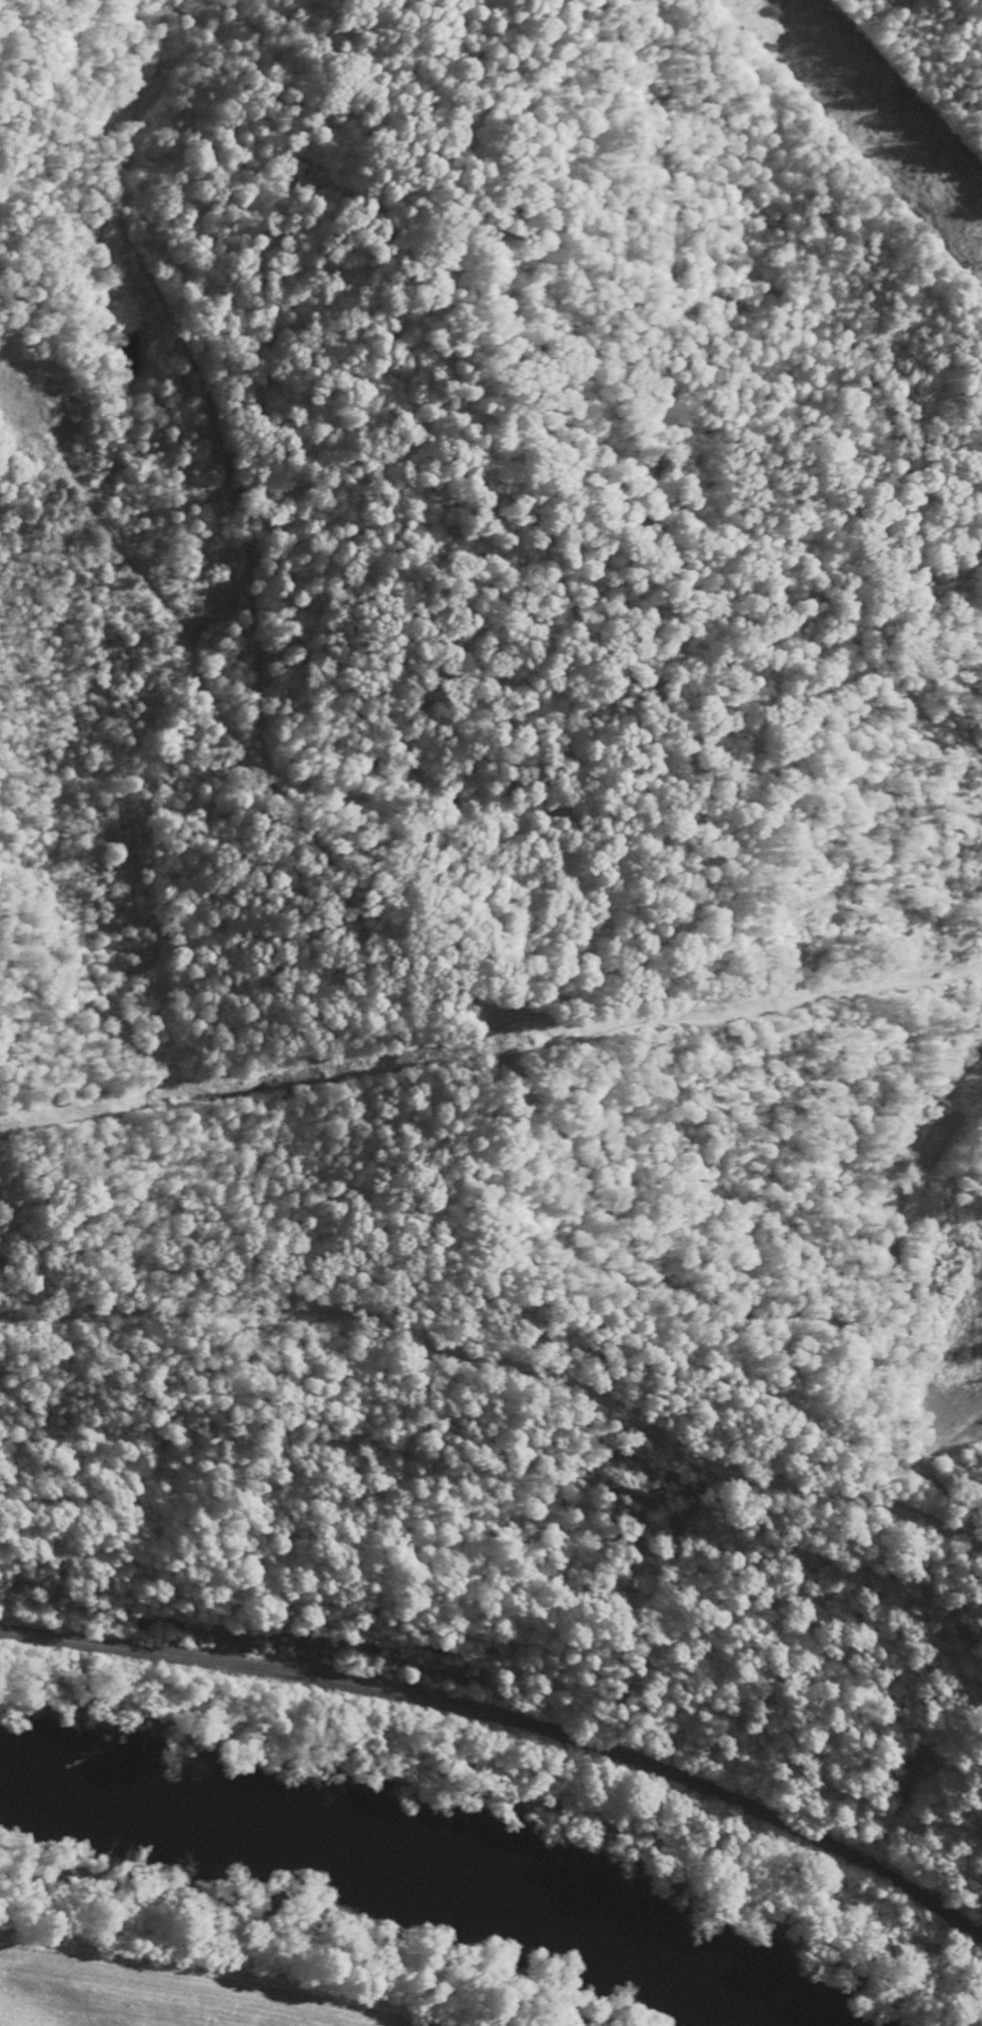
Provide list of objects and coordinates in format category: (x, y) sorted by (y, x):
road: (505, 1364)
railway: (510, 1720)
river: (414, 1857)

